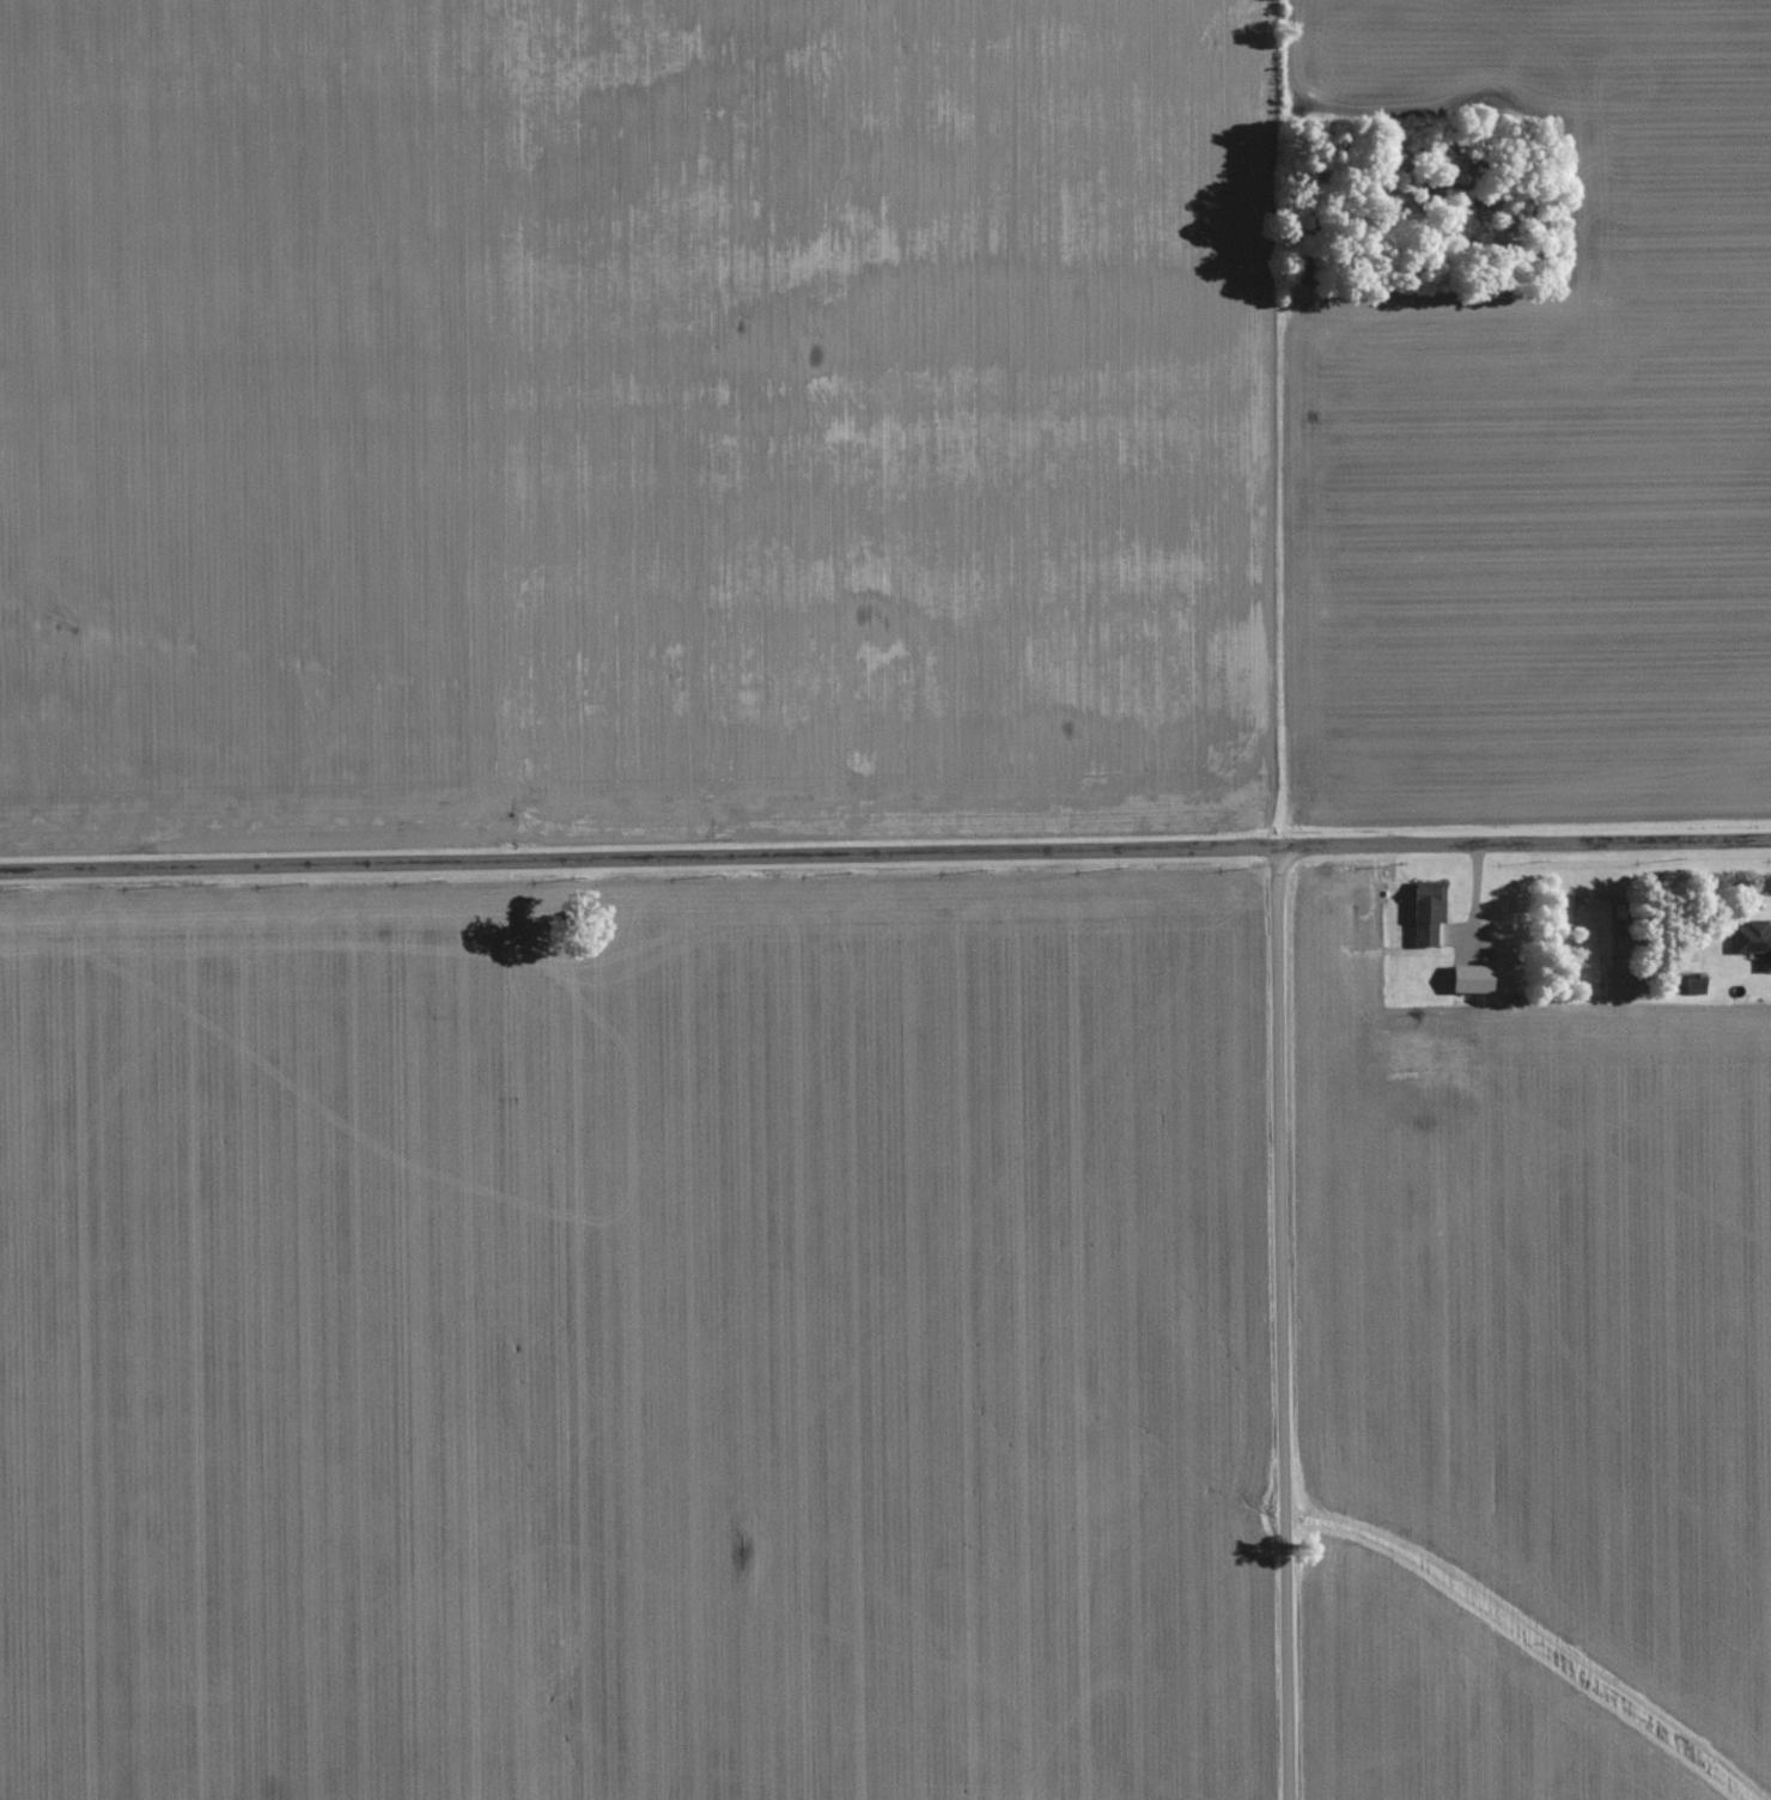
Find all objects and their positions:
road: (884, 857)
building: (1430, 920)
building: (1754, 939)
building: (1477, 979)
road: (1279, 1324)

